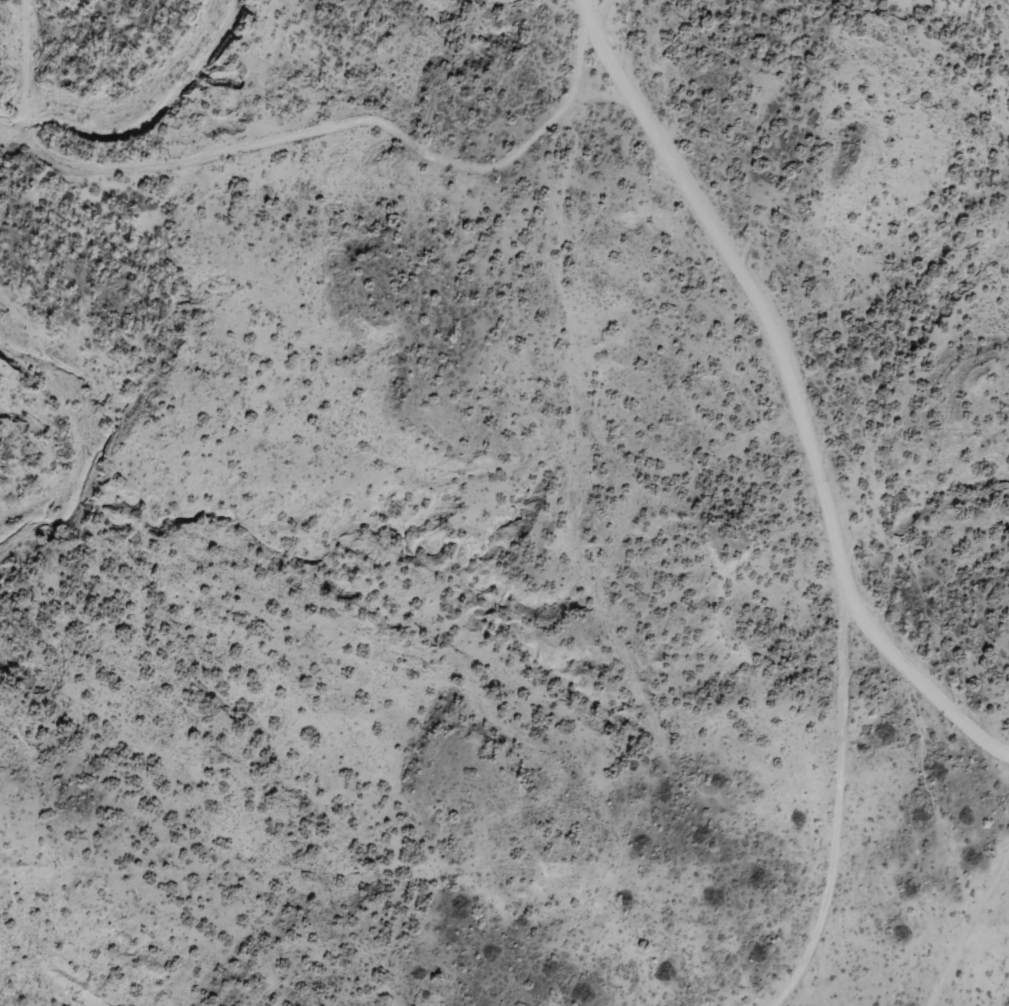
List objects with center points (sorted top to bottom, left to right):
road: (812, 485)

